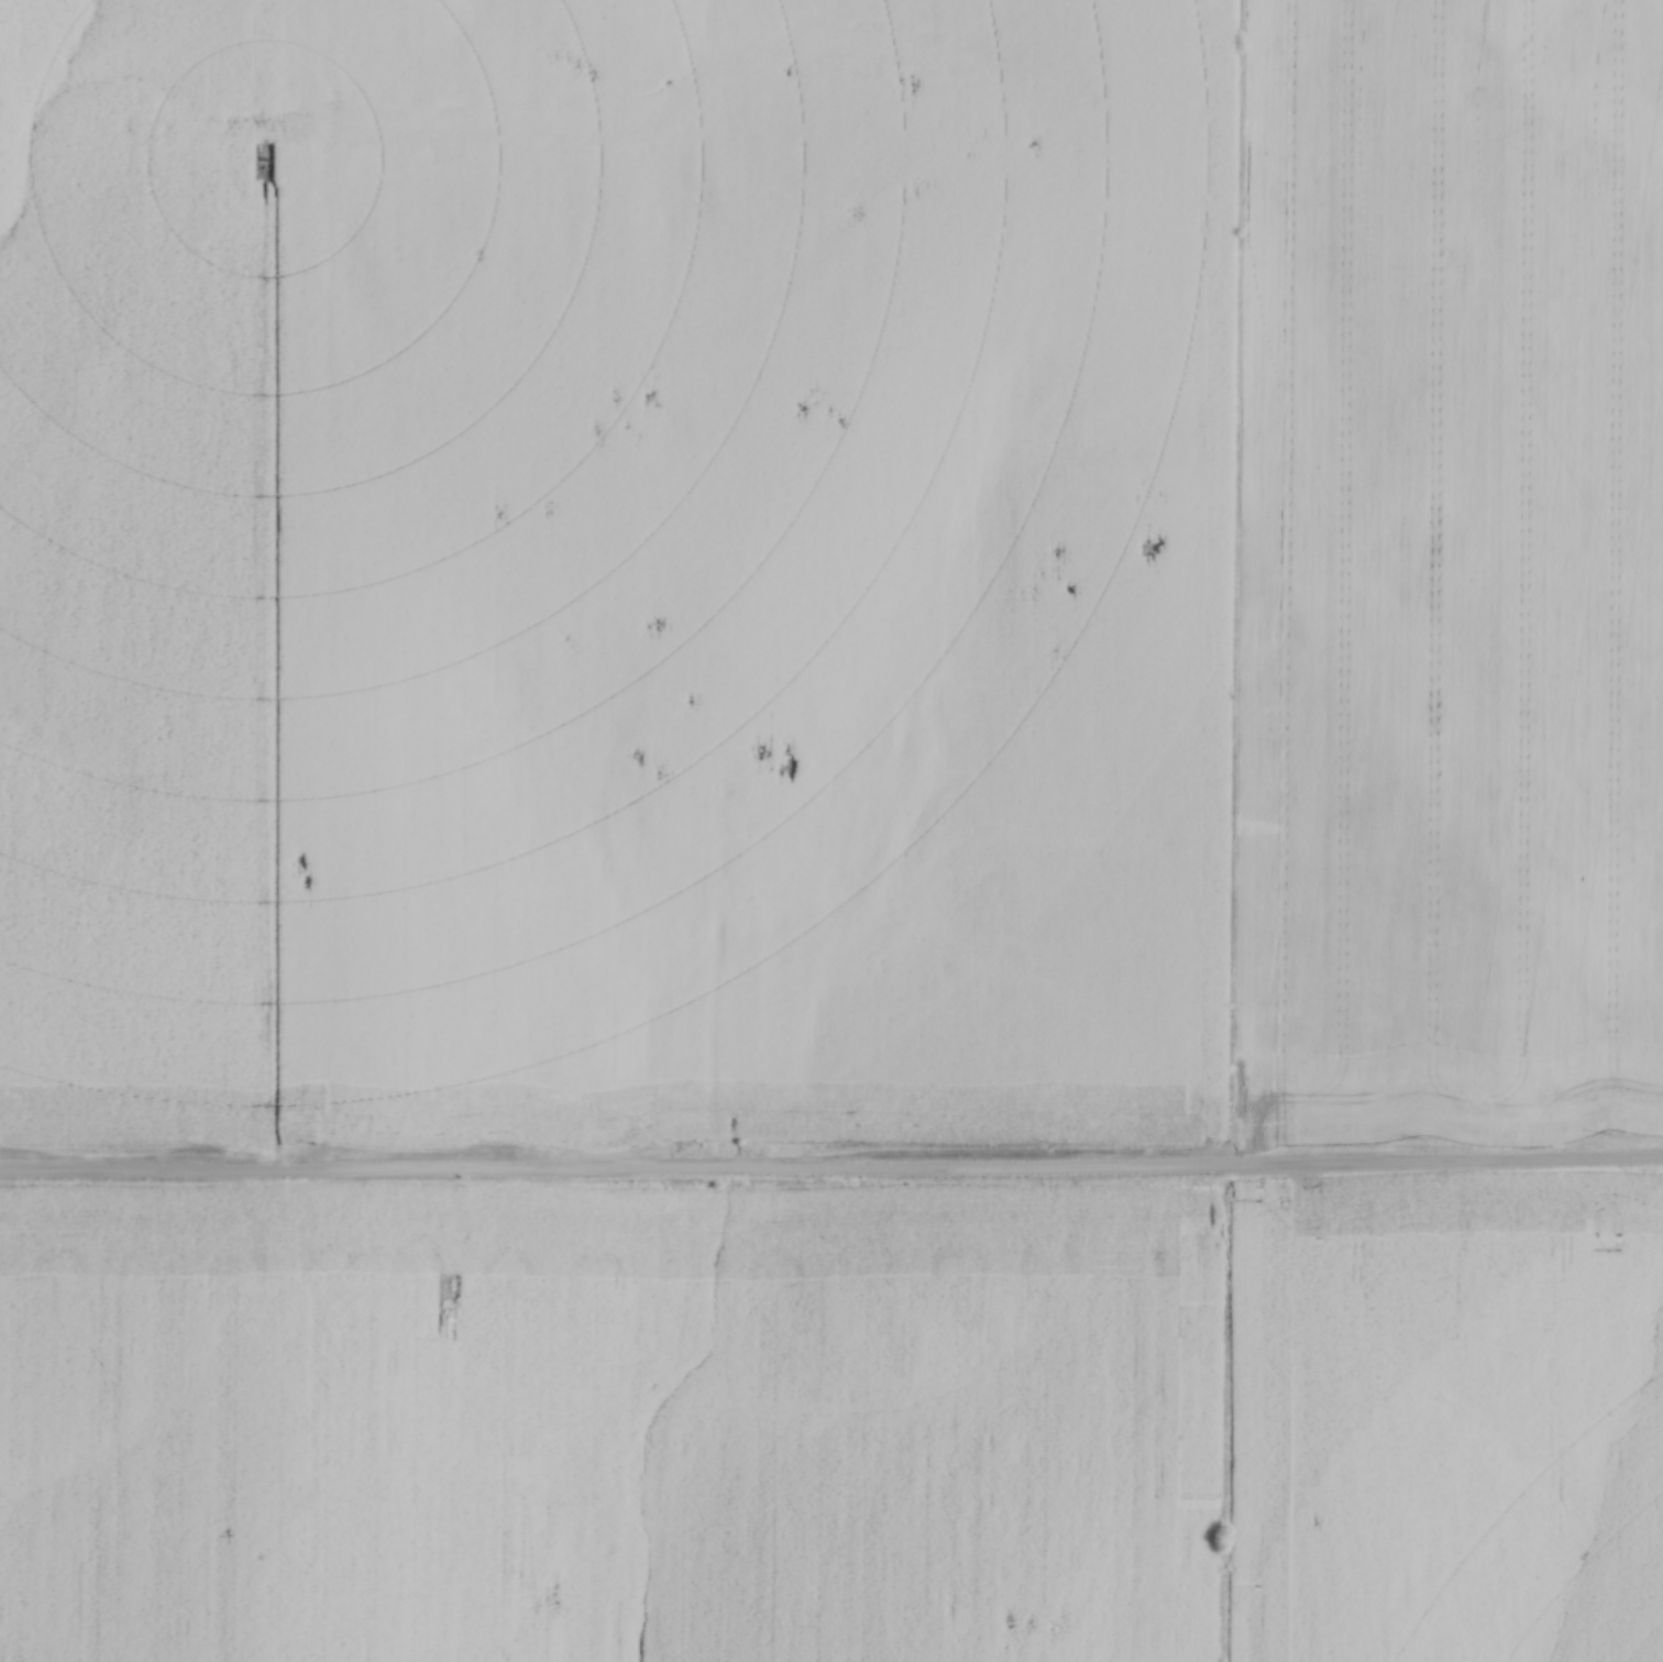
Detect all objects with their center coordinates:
road: (831, 1175)

